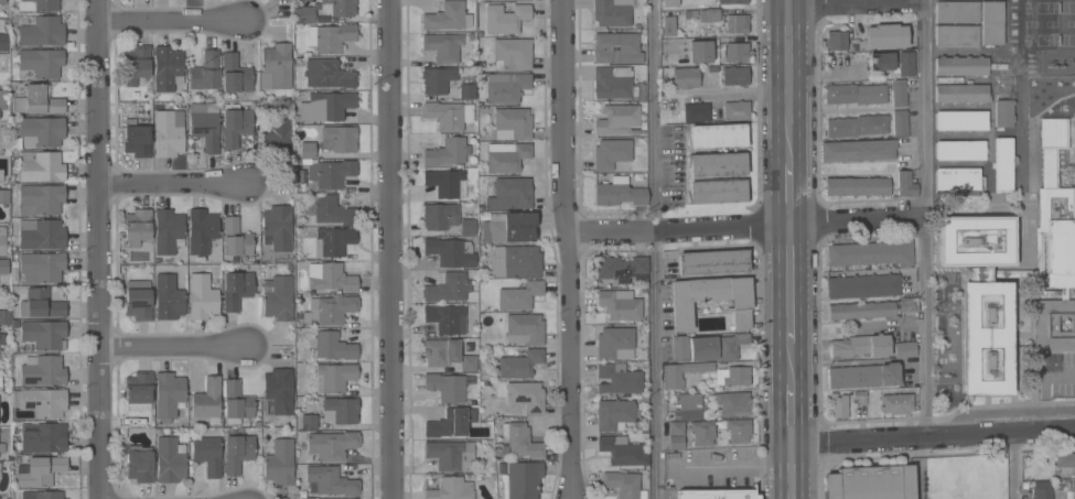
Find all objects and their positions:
building: (522, 0)
building: (2, 1)
building: (732, 1)
building: (670, 2)
road: (786, 2)
road: (857, 2)
building: (37, 4)
building: (324, 10)
building: (956, 11)
building: (612, 12)
building: (694, 12)
building: (685, 13)
building: (709, 14)
building: (447, 17)
building: (505, 18)
road: (171, 19)
building: (991, 22)
building: (668, 24)
building: (734, 24)
building: (40, 30)
building: (884, 35)
building: (956, 35)
building: (330, 36)
building: (836, 40)
building: (1, 43)
building: (444, 47)
building: (616, 47)
building: (700, 51)
building: (735, 52)
building: (512, 53)
building: (880, 61)
building: (2, 63)
building: (40, 63)
building: (906, 64)
building: (960, 65)
building: (137, 66)
building: (166, 66)
building: (276, 66)
building: (205, 72)
building: (235, 74)
building: (327, 74)
road: (823, 74)
building: (734, 75)
building: (685, 77)
building: (437, 79)
building: (613, 83)
road: (786, 84)
building: (507, 88)
building: (466, 91)
building: (897, 93)
building: (961, 93)
building: (854, 94)
building: (2, 99)
building: (37, 100)
building: (324, 107)
building: (737, 110)
building: (696, 111)
building: (1003, 113)
building: (448, 115)
building: (616, 119)
building: (960, 120)
building: (514, 121)
building: (900, 122)
building: (205, 124)
building: (235, 126)
building: (857, 126)
building: (41, 130)
building: (168, 132)
building: (717, 135)
building: (277, 137)
building: (338, 138)
building: (137, 139)
building: (858, 150)
building: (960, 150)
building: (307, 151)
building: (447, 152)
building: (611, 153)
building: (506, 156)
building: (717, 163)
building: (1002, 163)
building: (40, 165)
building: (332, 173)
building: (1, 175)
building: (958, 178)
road: (172, 182)
building: (445, 183)
building: (905, 184)
building: (857, 186)
building: (718, 191)
building: (619, 192)
building: (508, 194)
road: (786, 194)
building: (4, 196)
building: (40, 198)
building: (332, 210)
building: (440, 216)
building: (1053, 217)
road: (925, 219)
road: (745, 225)
building: (137, 227)
building: (277, 227)
building: (467, 227)
building: (508, 227)
building: (201, 230)
building: (168, 231)
building: (41, 234)
building: (235, 237)
building: (2, 240)
building: (333, 240)
road: (98, 249)
road: (389, 249)
road: (567, 249)
road: (655, 249)
building: (450, 251)
building: (870, 252)
building: (519, 261)
building: (712, 262)
building: (3, 265)
building: (41, 267)
building: (622, 269)
building: (330, 276)
road: (787, 283)
building: (863, 285)
building: (448, 288)
building: (236, 289)
building: (519, 295)
building: (202, 296)
building: (168, 297)
building: (982, 297)
building: (138, 299)
building: (278, 299)
building: (711, 299)
building: (909, 303)
building: (41, 304)
building: (620, 304)
building: (329, 310)
building: (861, 310)
building: (4, 316)
building: (445, 318)
building: (1052, 325)
building: (525, 328)
building: (44, 334)
building: (2, 338)
building: (615, 343)
building: (731, 345)
road: (172, 346)
building: (333, 346)
building: (860, 346)
building: (680, 348)
building: (703, 348)
building: (904, 349)
building: (440, 351)
building: (467, 362)
building: (519, 364)
road: (788, 364)
building: (43, 370)
building: (737, 376)
building: (863, 376)
building: (334, 377)
building: (671, 377)
building: (617, 378)
building: (1, 383)
building: (445, 387)
building: (279, 389)
building: (139, 390)
road: (1044, 390)
building: (169, 395)
building: (526, 395)
building: (860, 398)
building: (207, 399)
building: (44, 401)
building: (236, 403)
building: (734, 403)
building: (896, 403)
building: (690, 405)
building: (838, 405)
building: (341, 410)
building: (613, 414)
road: (788, 415)
building: (309, 421)
building: (450, 423)
building: (676, 427)
building: (739, 430)
building: (702, 432)
building: (41, 436)
road: (932, 440)
building: (522, 442)
building: (676, 442)
building: (331, 444)
building: (2, 447)
building: (622, 451)
building: (237, 452)
building: (207, 454)
building: (449, 454)
building: (170, 459)
building: (1065, 459)
building: (278, 460)
building: (139, 464)
road: (1012, 467)
road: (723, 469)
building: (40, 470)
road: (791, 471)
building: (519, 479)
building: (331, 480)
building: (872, 481)
building: (623, 484)
building: (451, 489)
building: (1042, 489)
building: (1073, 489)
building: (716, 493)
building: (42, 495)

